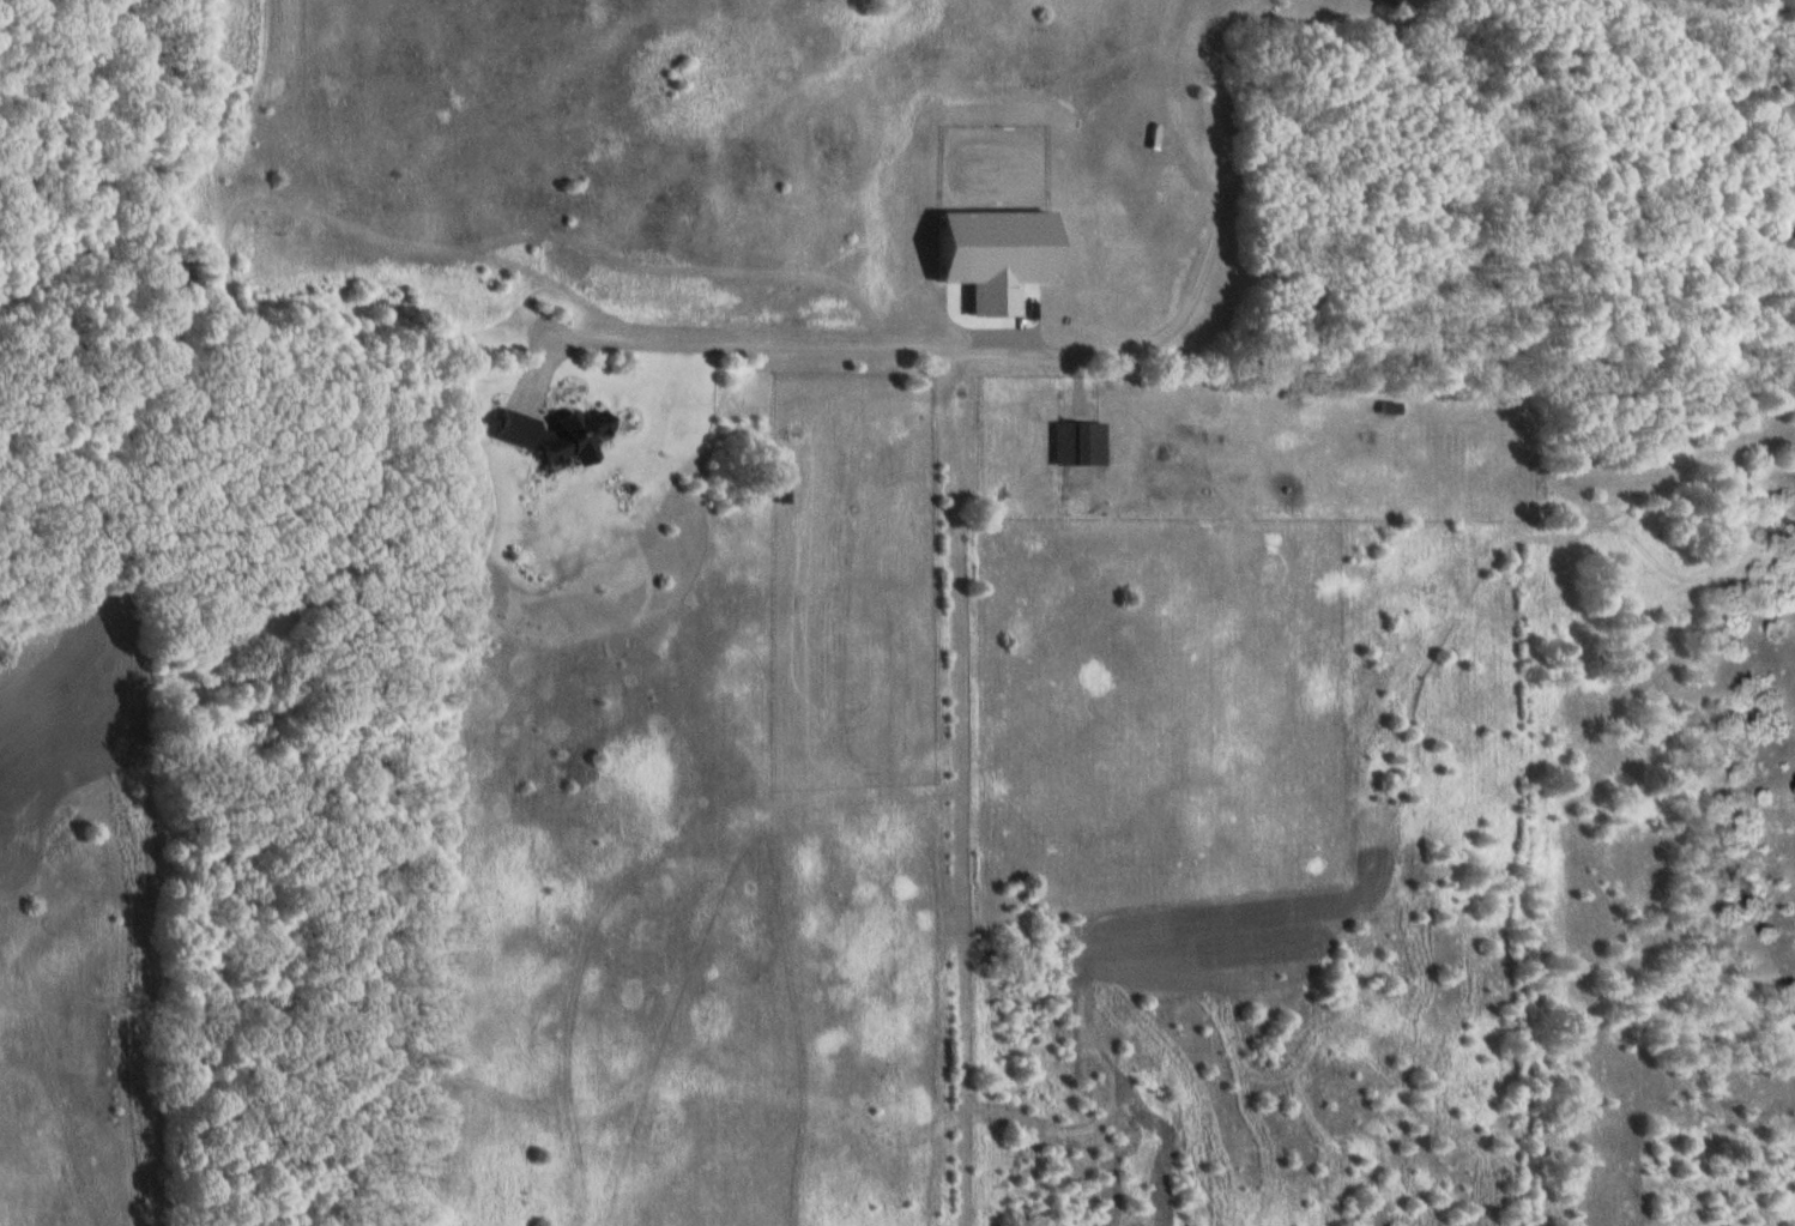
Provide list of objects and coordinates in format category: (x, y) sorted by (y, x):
building: (1382, 1)
building: (1077, 443)

